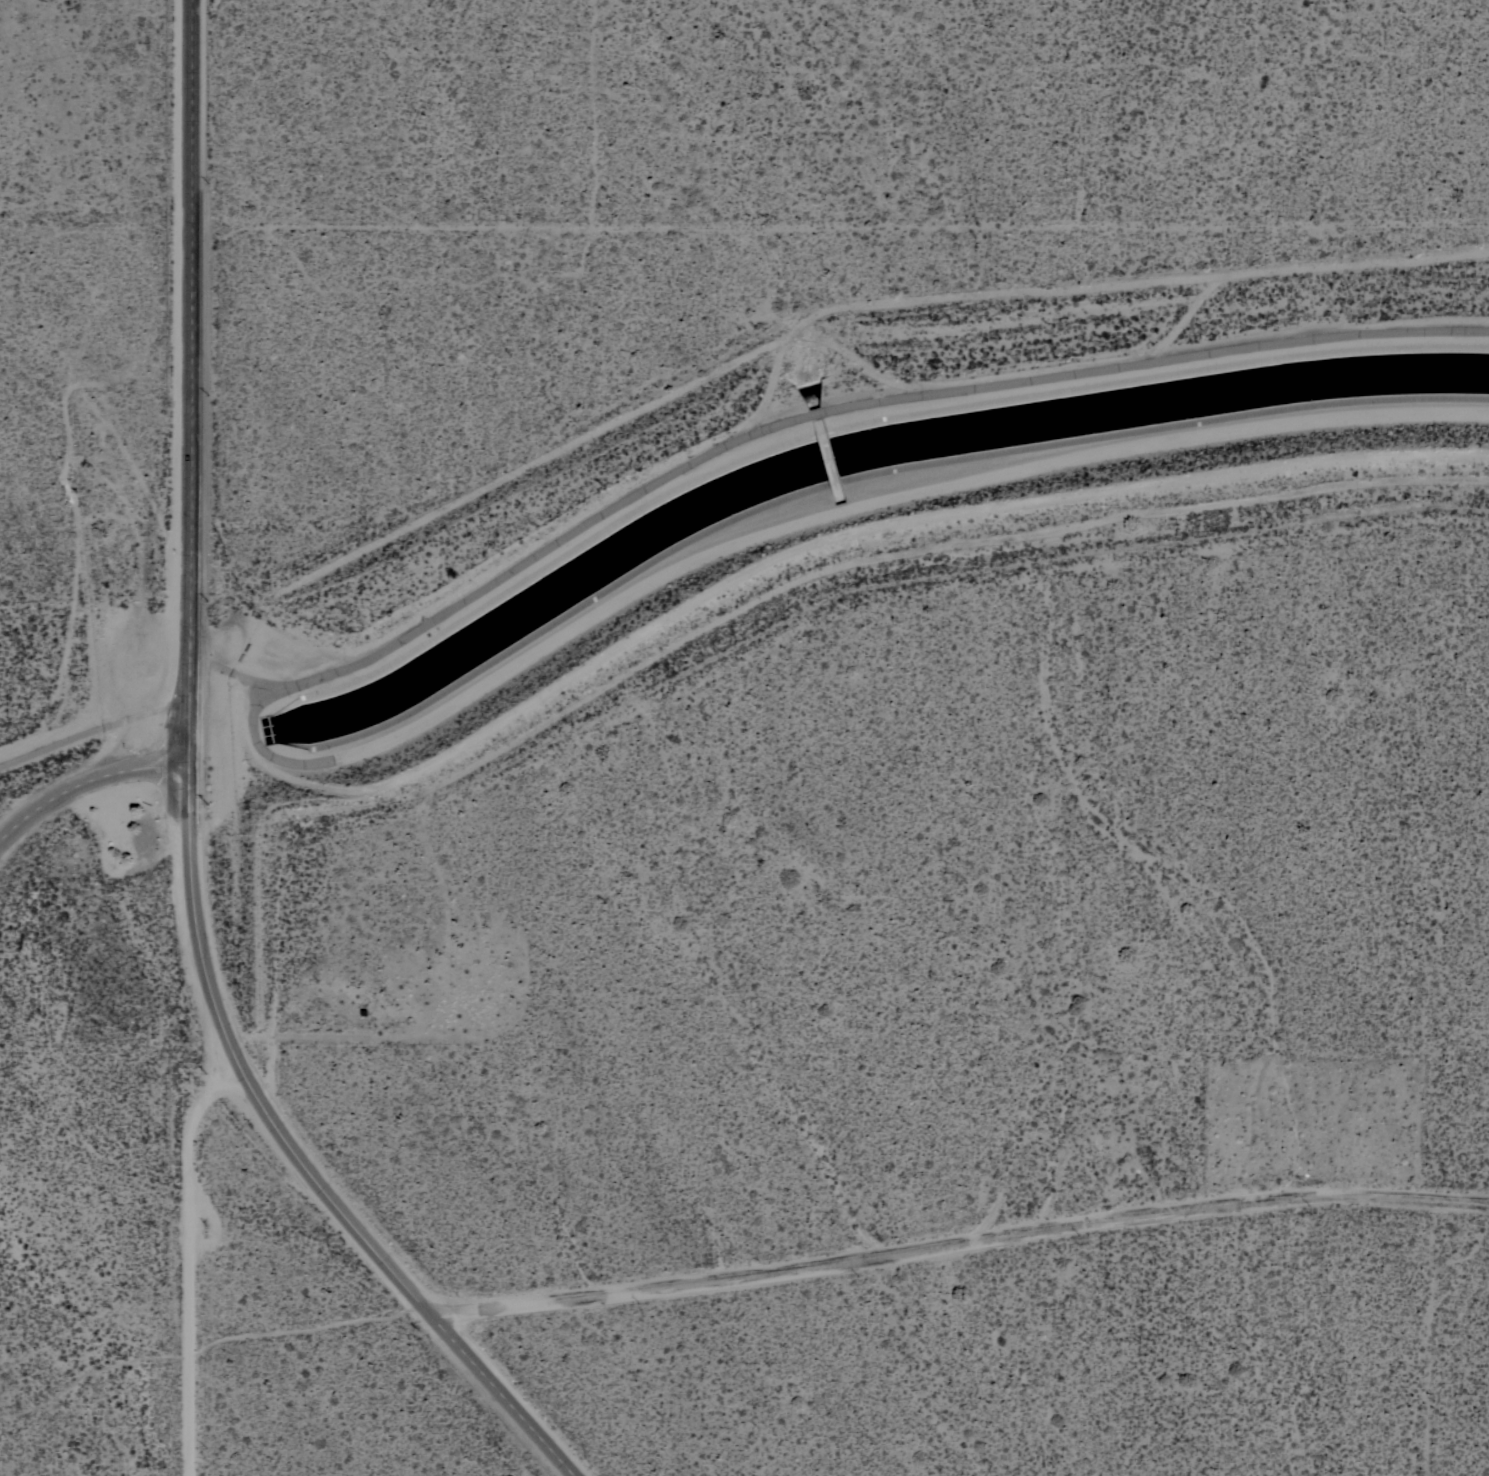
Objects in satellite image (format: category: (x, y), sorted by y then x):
road: (189, 692)
road: (87, 782)
road: (959, 1243)
road: (186, 1263)
road: (503, 1394)

